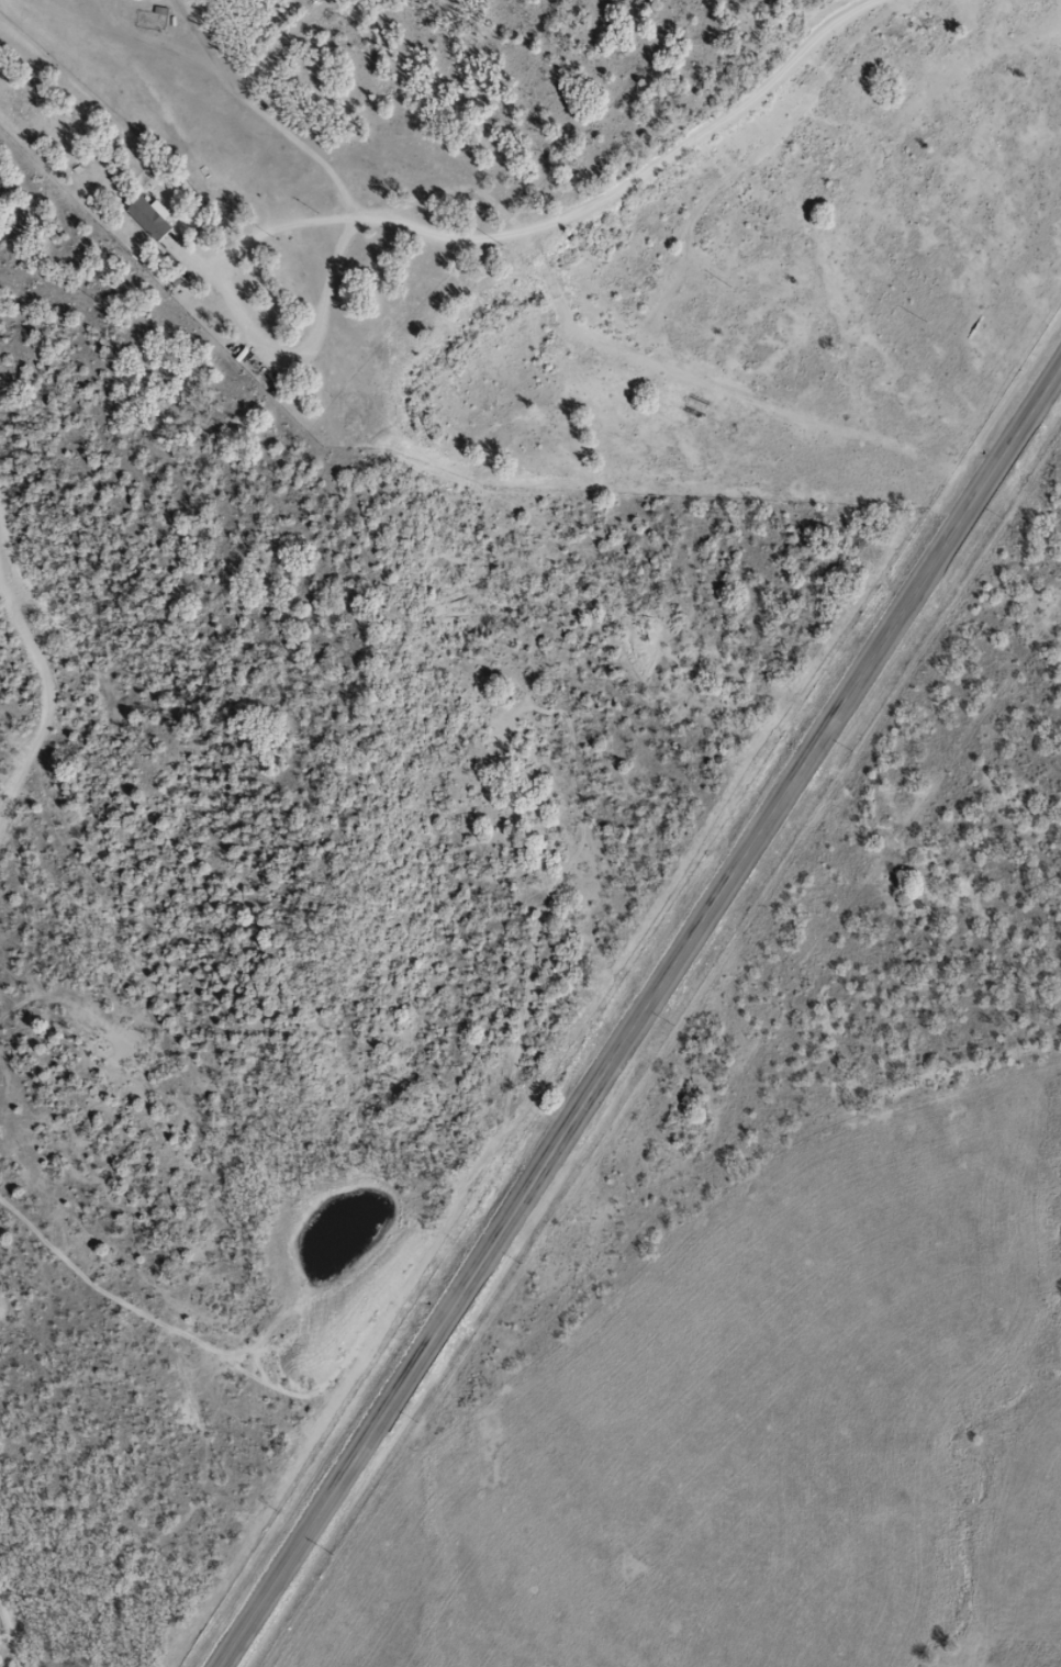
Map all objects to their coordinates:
building: (224, 209)
road: (640, 1015)

